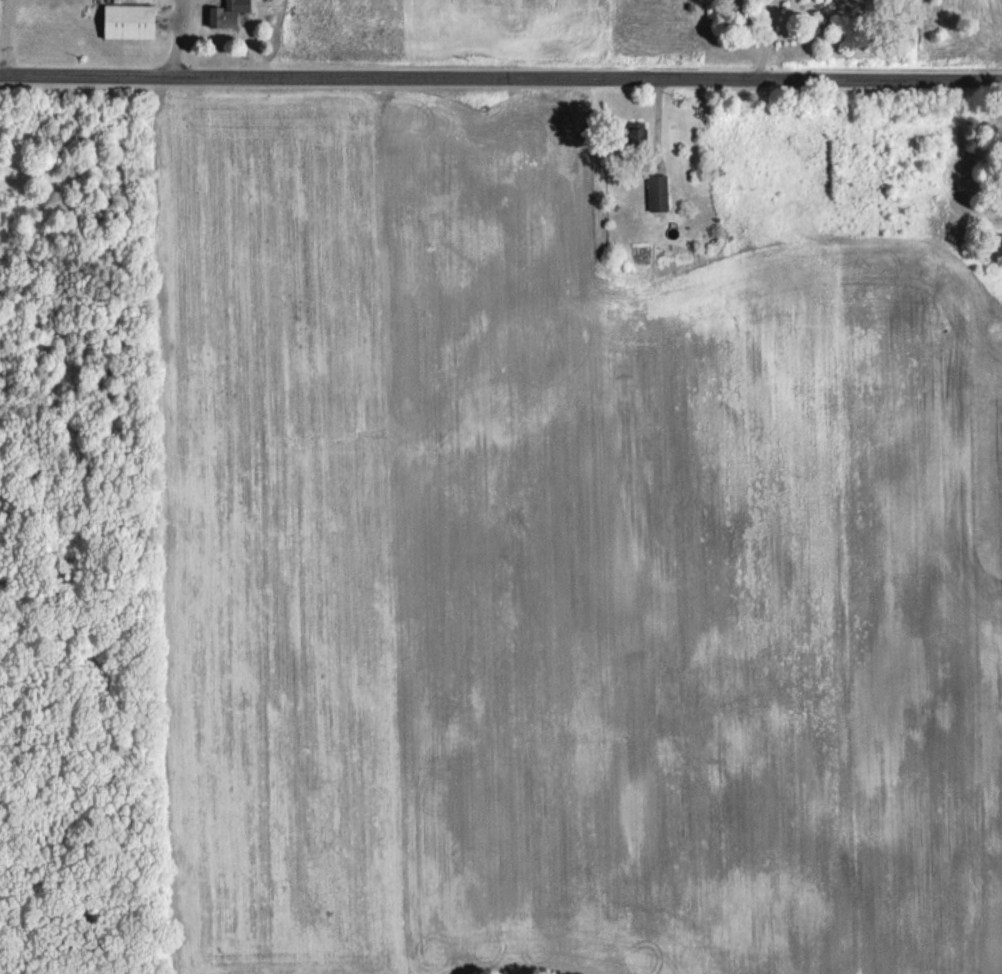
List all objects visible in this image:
building: (224, 12)
building: (126, 20)
road: (2, 37)
road: (177, 39)
road: (500, 80)
building: (634, 131)
building: (656, 191)

